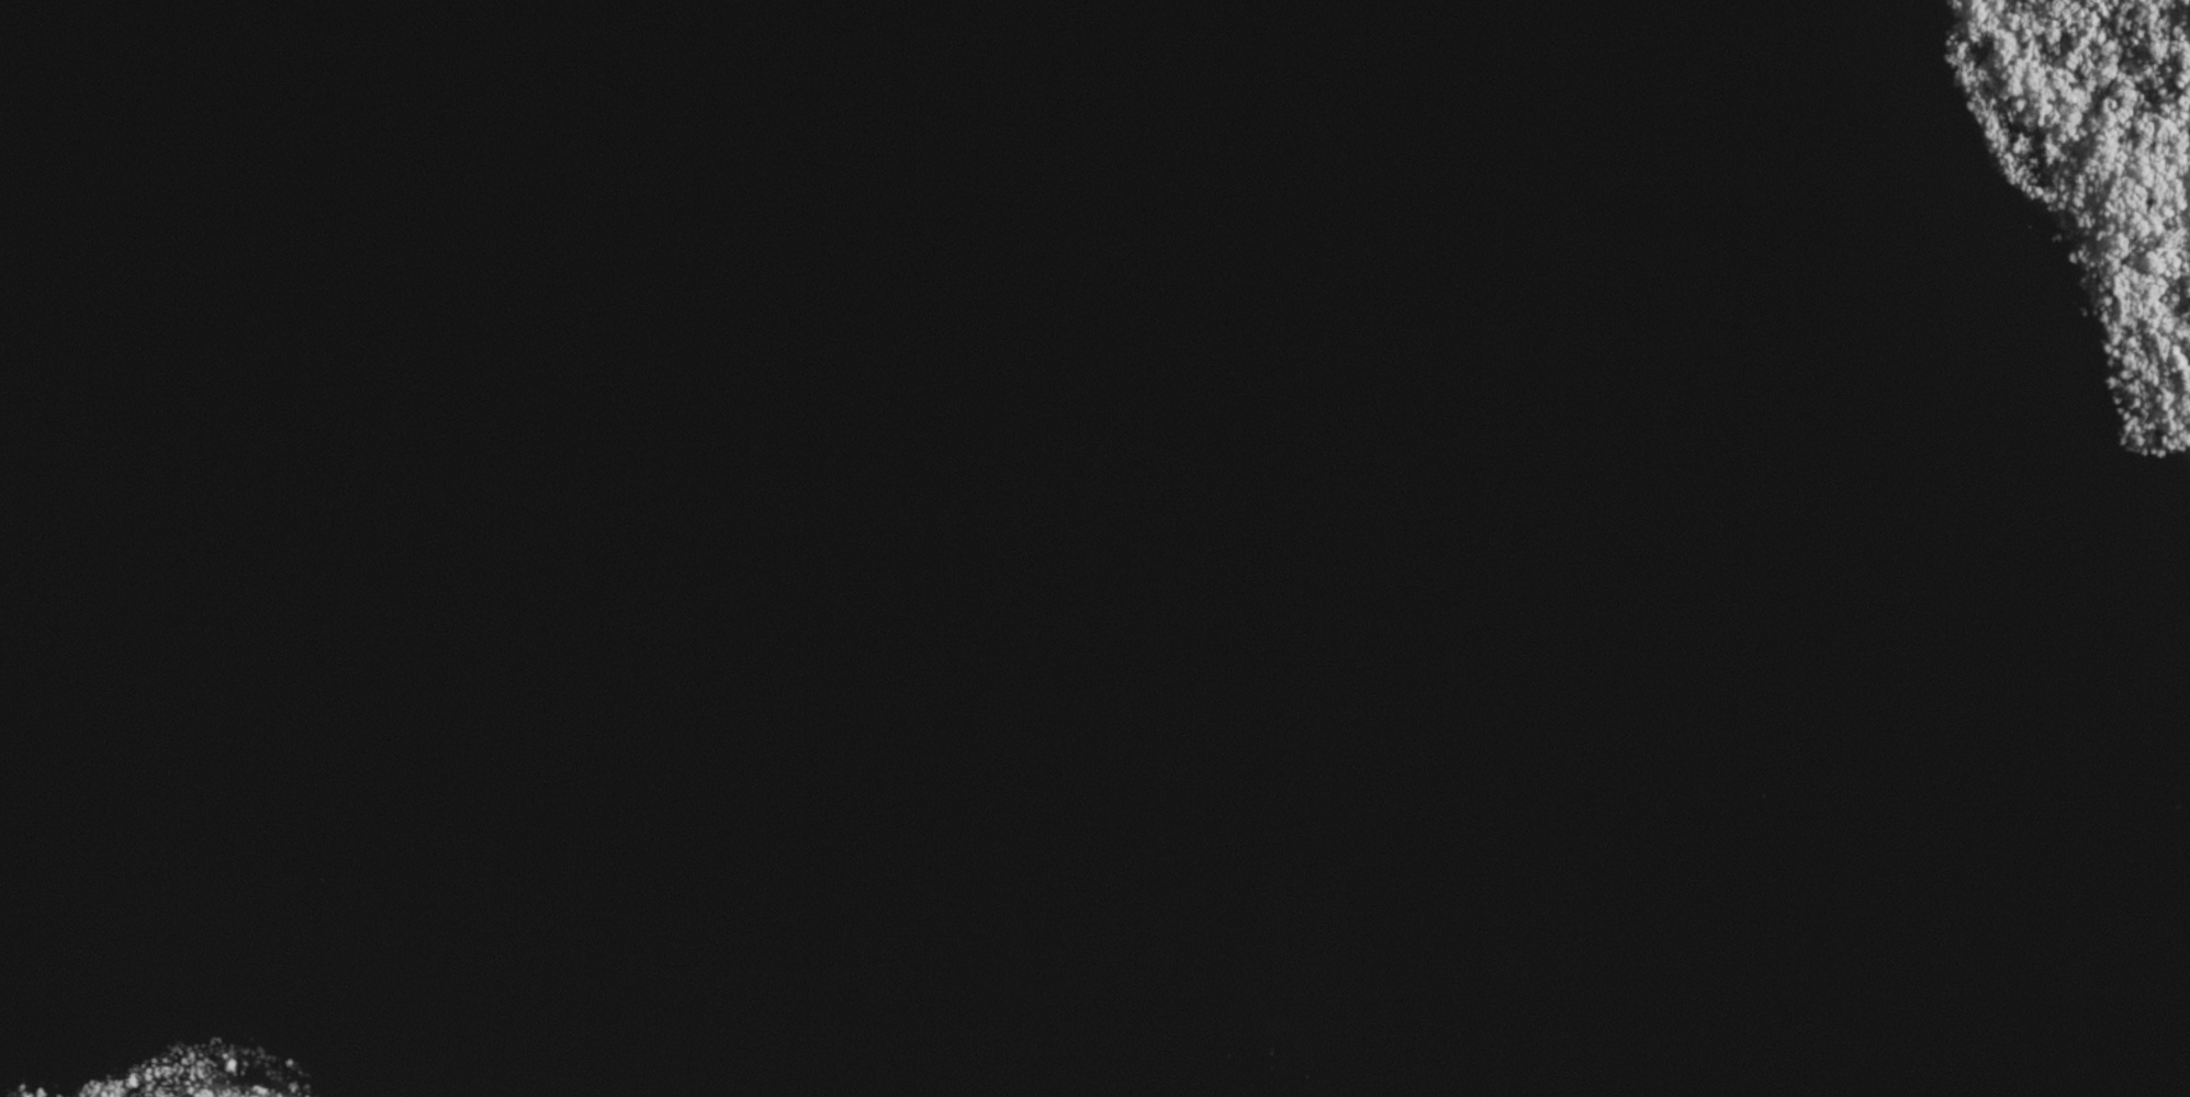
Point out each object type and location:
road: (2176, 471)

